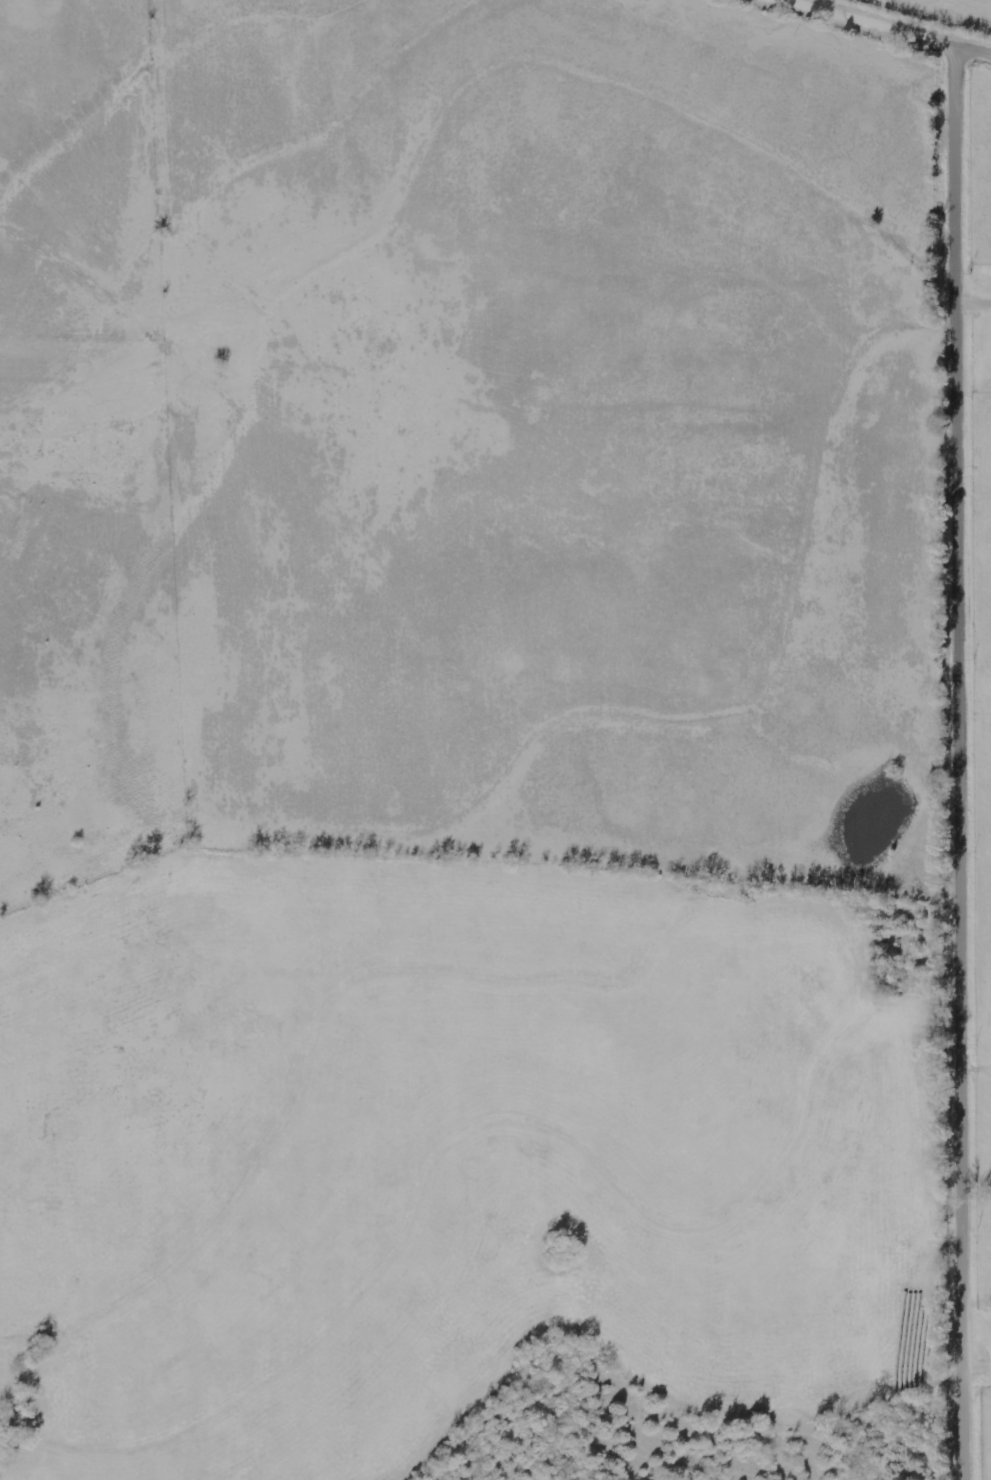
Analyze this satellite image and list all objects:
road: (886, 28)
road: (968, 765)

